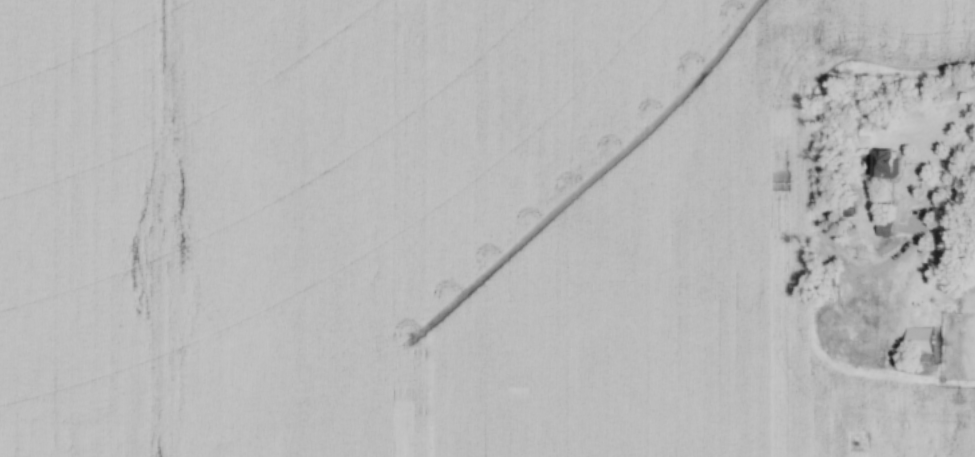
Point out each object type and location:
building: (885, 164)
road: (944, 179)
building: (820, 222)
building: (884, 229)
building: (840, 336)
building: (860, 336)
building: (911, 345)
building: (839, 364)

